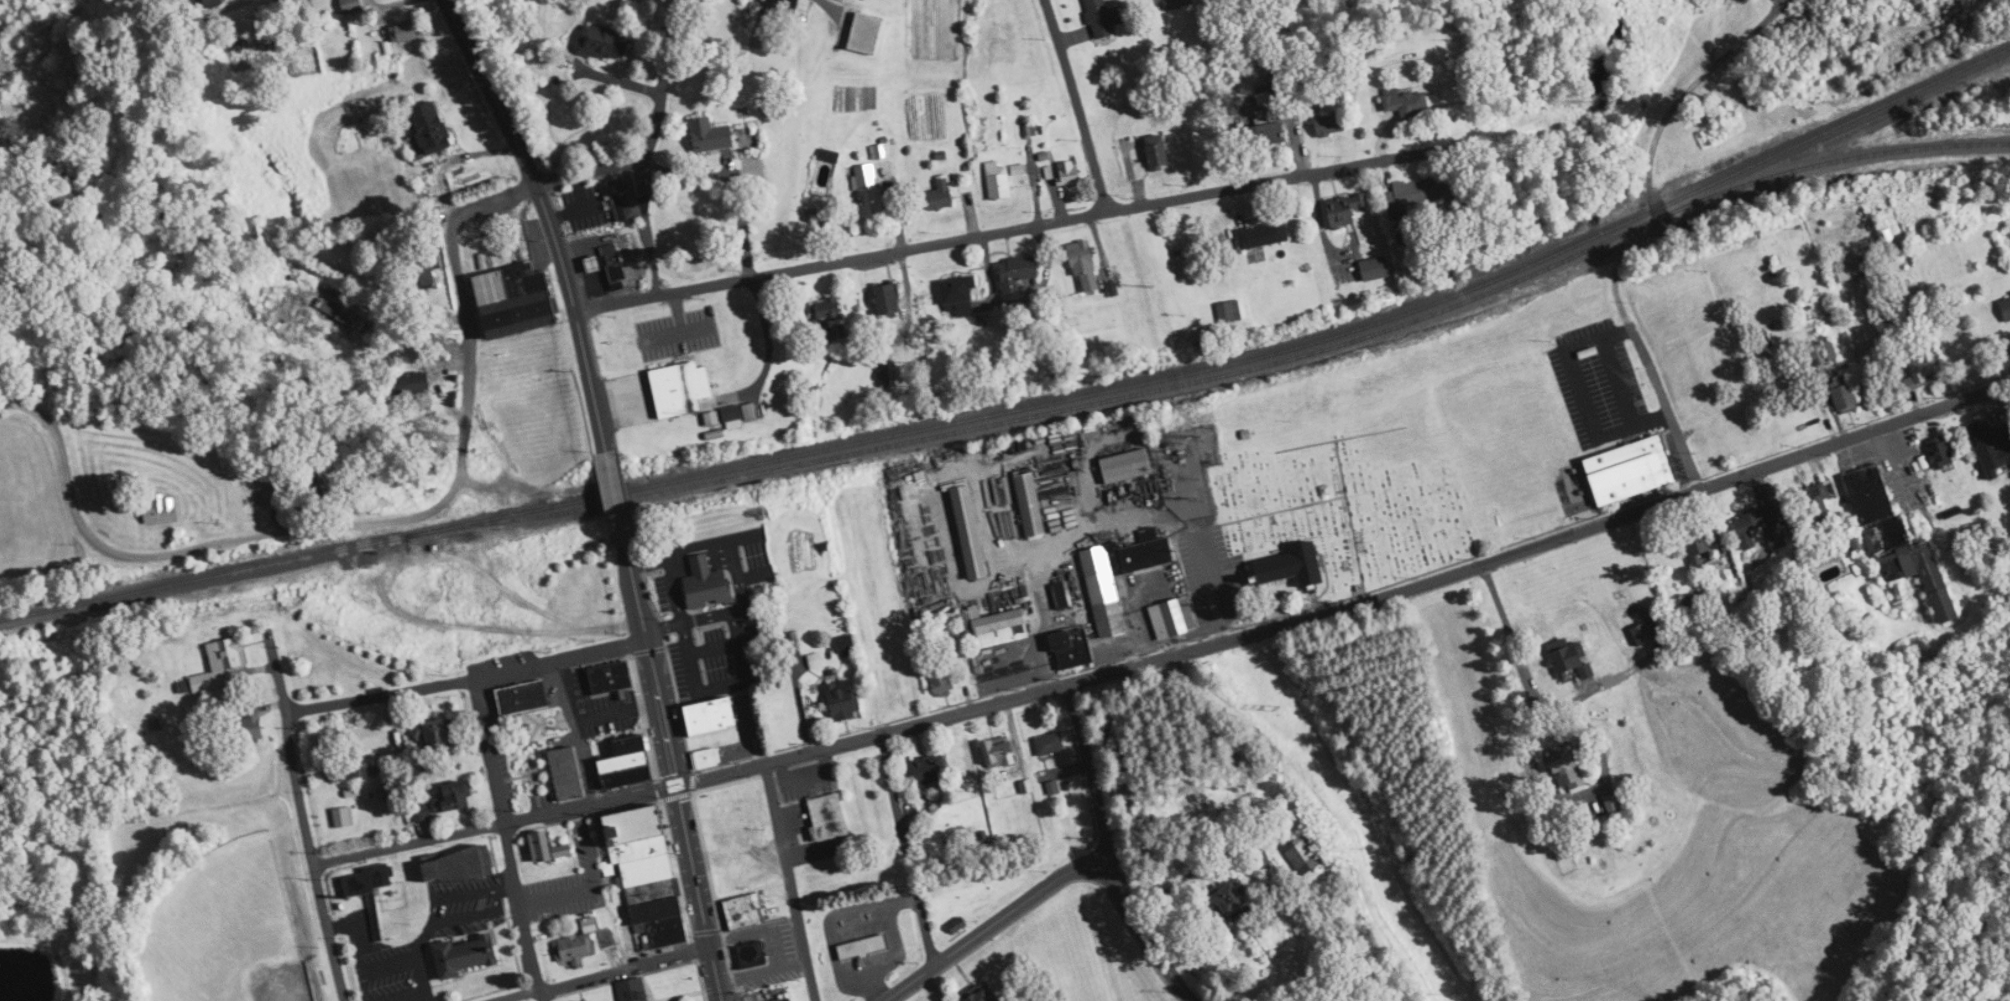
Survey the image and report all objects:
building: (213, 2)
building: (352, 6)
building: (790, 9)
building: (1103, 18)
park: (1295, 25)
building: (864, 33)
building: (407, 34)
building: (525, 34)
building: (601, 43)
road: (665, 75)
road: (492, 92)
building: (1408, 102)
road: (1078, 104)
railway: (1899, 109)
building: (1331, 125)
building: (429, 128)
road: (1661, 129)
building: (1267, 135)
building: (710, 136)
building: (1159, 152)
railway: (1879, 152)
road: (593, 169)
building: (1068, 173)
building: (999, 180)
road: (732, 183)
building: (869, 190)
building: (939, 195)
building: (625, 198)
road: (495, 200)
road: (577, 205)
building: (1341, 212)
building: (1402, 224)
road: (1005, 230)
building: (1263, 234)
building: (1891, 246)
building: (1084, 265)
building: (1373, 269)
building: (425, 270)
building: (1015, 273)
building: (615, 275)
building: (957, 296)
building: (514, 300)
building: (2006, 307)
building: (825, 312)
building: (1230, 312)
road: (576, 316)
road: (471, 334)
building: (1824, 353)
building: (1920, 366)
road: (1617, 380)
building: (412, 382)
building: (680, 388)
road: (1662, 394)
building: (1845, 394)
road: (1580, 397)
railway: (1117, 400)
road: (16, 404)
railway: (1028, 407)
building: (1991, 449)
building: (1126, 466)
road: (1904, 467)
building: (1631, 470)
park: (1354, 486)
road: (617, 498)
building: (1818, 504)
building: (1031, 505)
building: (163, 510)
road: (1142, 518)
building: (1753, 528)
building: (970, 532)
building: (1896, 542)
road: (220, 543)
building: (1704, 546)
road: (701, 554)
parking lot: (754, 555)
road: (703, 561)
building: (799, 564)
building: (1289, 566)
road: (694, 569)
building: (707, 582)
road: (638, 592)
parking lot: (662, 592)
road: (680, 601)
building: (1108, 605)
road: (1349, 605)
building: (1174, 617)
road: (707, 619)
building: (1004, 620)
road: (1087, 625)
road: (1241, 626)
road: (737, 633)
road: (867, 640)
building: (845, 645)
road: (715, 648)
building: (1065, 650)
road: (1039, 651)
building: (1578, 658)
parking lot: (717, 661)
building: (221, 665)
road: (277, 669)
building: (611, 676)
road: (468, 679)
building: (941, 680)
road: (638, 688)
building: (520, 696)
building: (842, 700)
building: (129, 704)
parking lot: (599, 706)
building: (712, 715)
building: (247, 727)
road: (578, 731)
building: (440, 734)
building: (1050, 743)
road: (490, 751)
building: (1001, 752)
building: (707, 758)
parking lot: (503, 762)
building: (625, 764)
road: (1536, 764)
building: (346, 770)
building: (933, 770)
building: (567, 771)
building: (1571, 771)
road: (524, 774)
road: (1091, 777)
parking lot: (807, 779)
traffic signals: (677, 785)
building: (455, 796)
parking lot: (544, 797)
road: (538, 799)
road: (660, 799)
building: (1615, 806)
building: (829, 816)
building: (1587, 818)
road: (684, 819)
road: (495, 826)
building: (546, 848)
road: (909, 848)
building: (1302, 855)
road: (311, 858)
road: (706, 860)
building: (459, 866)
building: (646, 875)
road: (592, 880)
road: (791, 882)
building: (373, 887)
building: (1232, 901)
road: (524, 912)
building: (743, 912)
road: (830, 924)
road: (991, 924)
road: (509, 927)
parking lot: (429, 936)
road: (1147, 936)
building: (580, 944)
building: (862, 946)
road: (893, 948)
building: (465, 954)
building: (753, 955)
road: (473, 970)
road: (646, 971)
road: (627, 974)
road: (510, 985)
building: (633, 989)
building: (982, 994)
road: (532, 998)
building: (785, 999)

